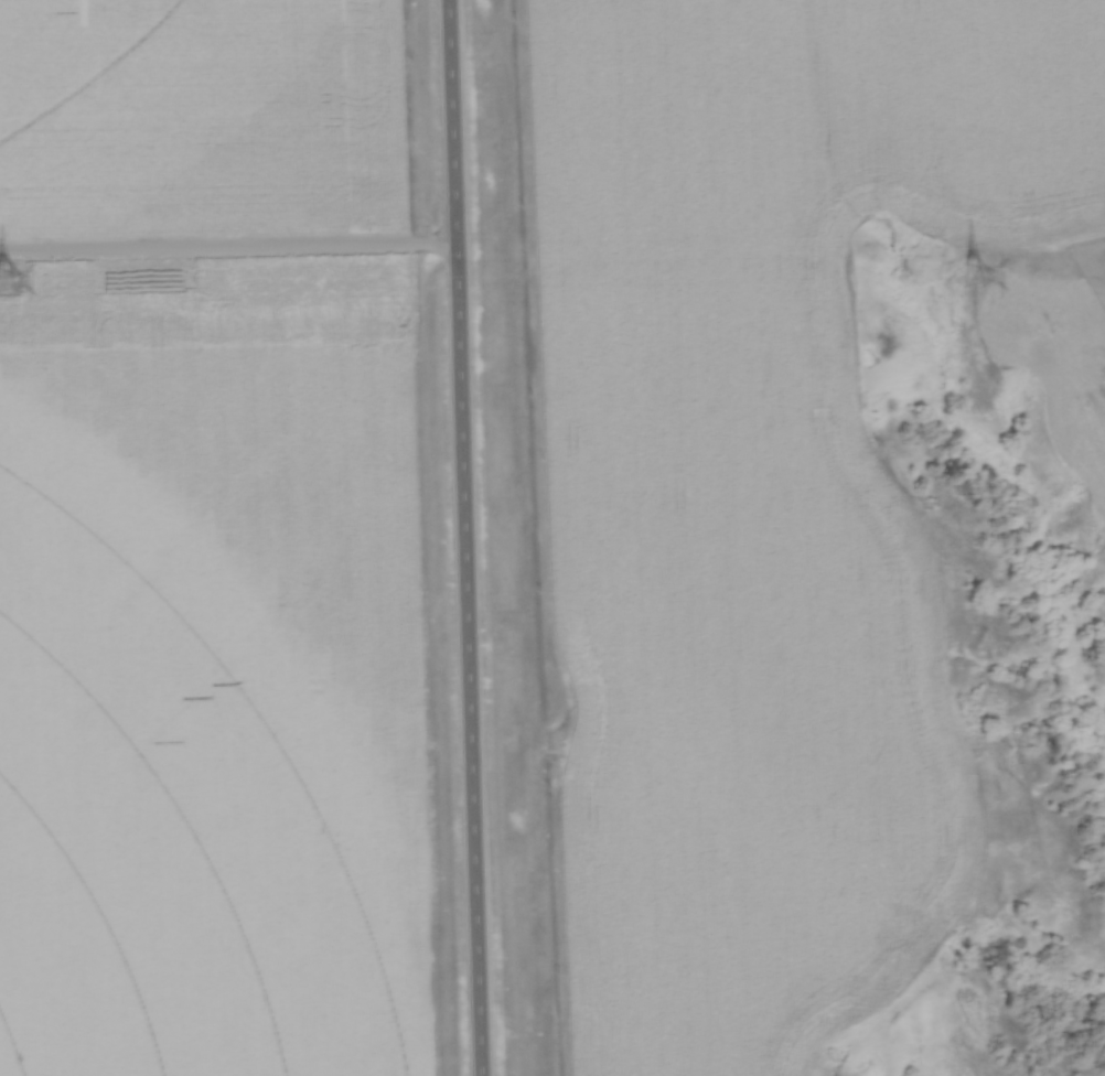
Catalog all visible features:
road: (228, 248)
power tower: (966, 277)
power tower: (2, 283)
road: (464, 538)

